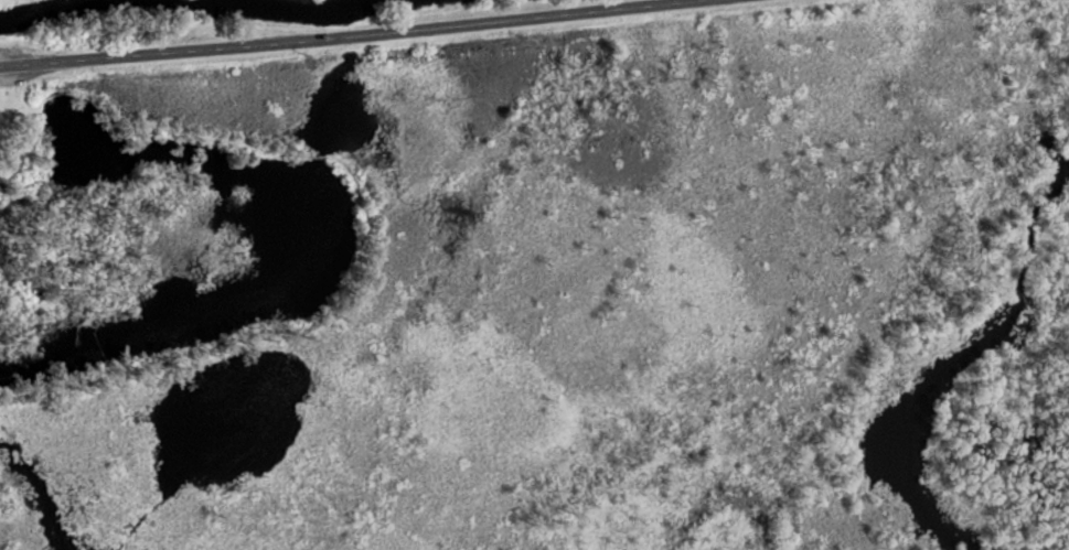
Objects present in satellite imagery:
road: (372, 32)
parking lot: (20, 61)
road: (147, 128)
road: (317, 155)
road: (368, 271)
road: (128, 367)

